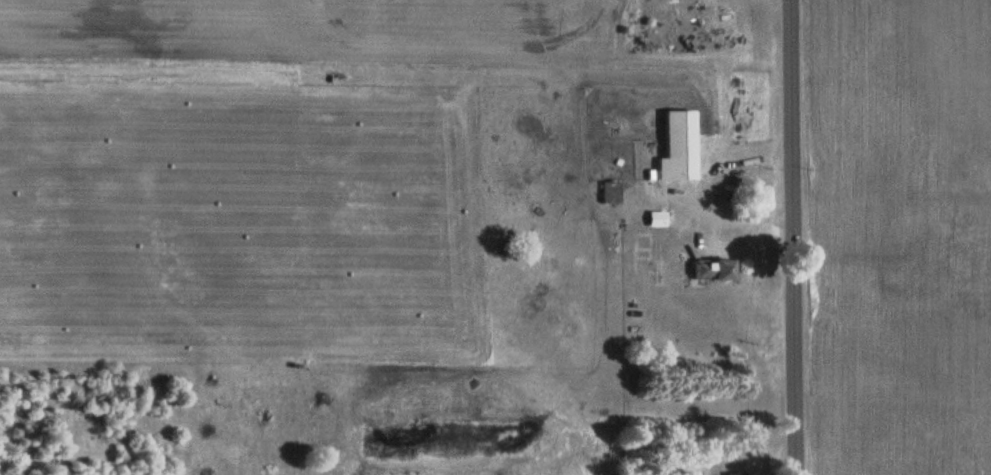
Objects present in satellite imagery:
building: (677, 148)
road: (780, 237)
building: (713, 272)

